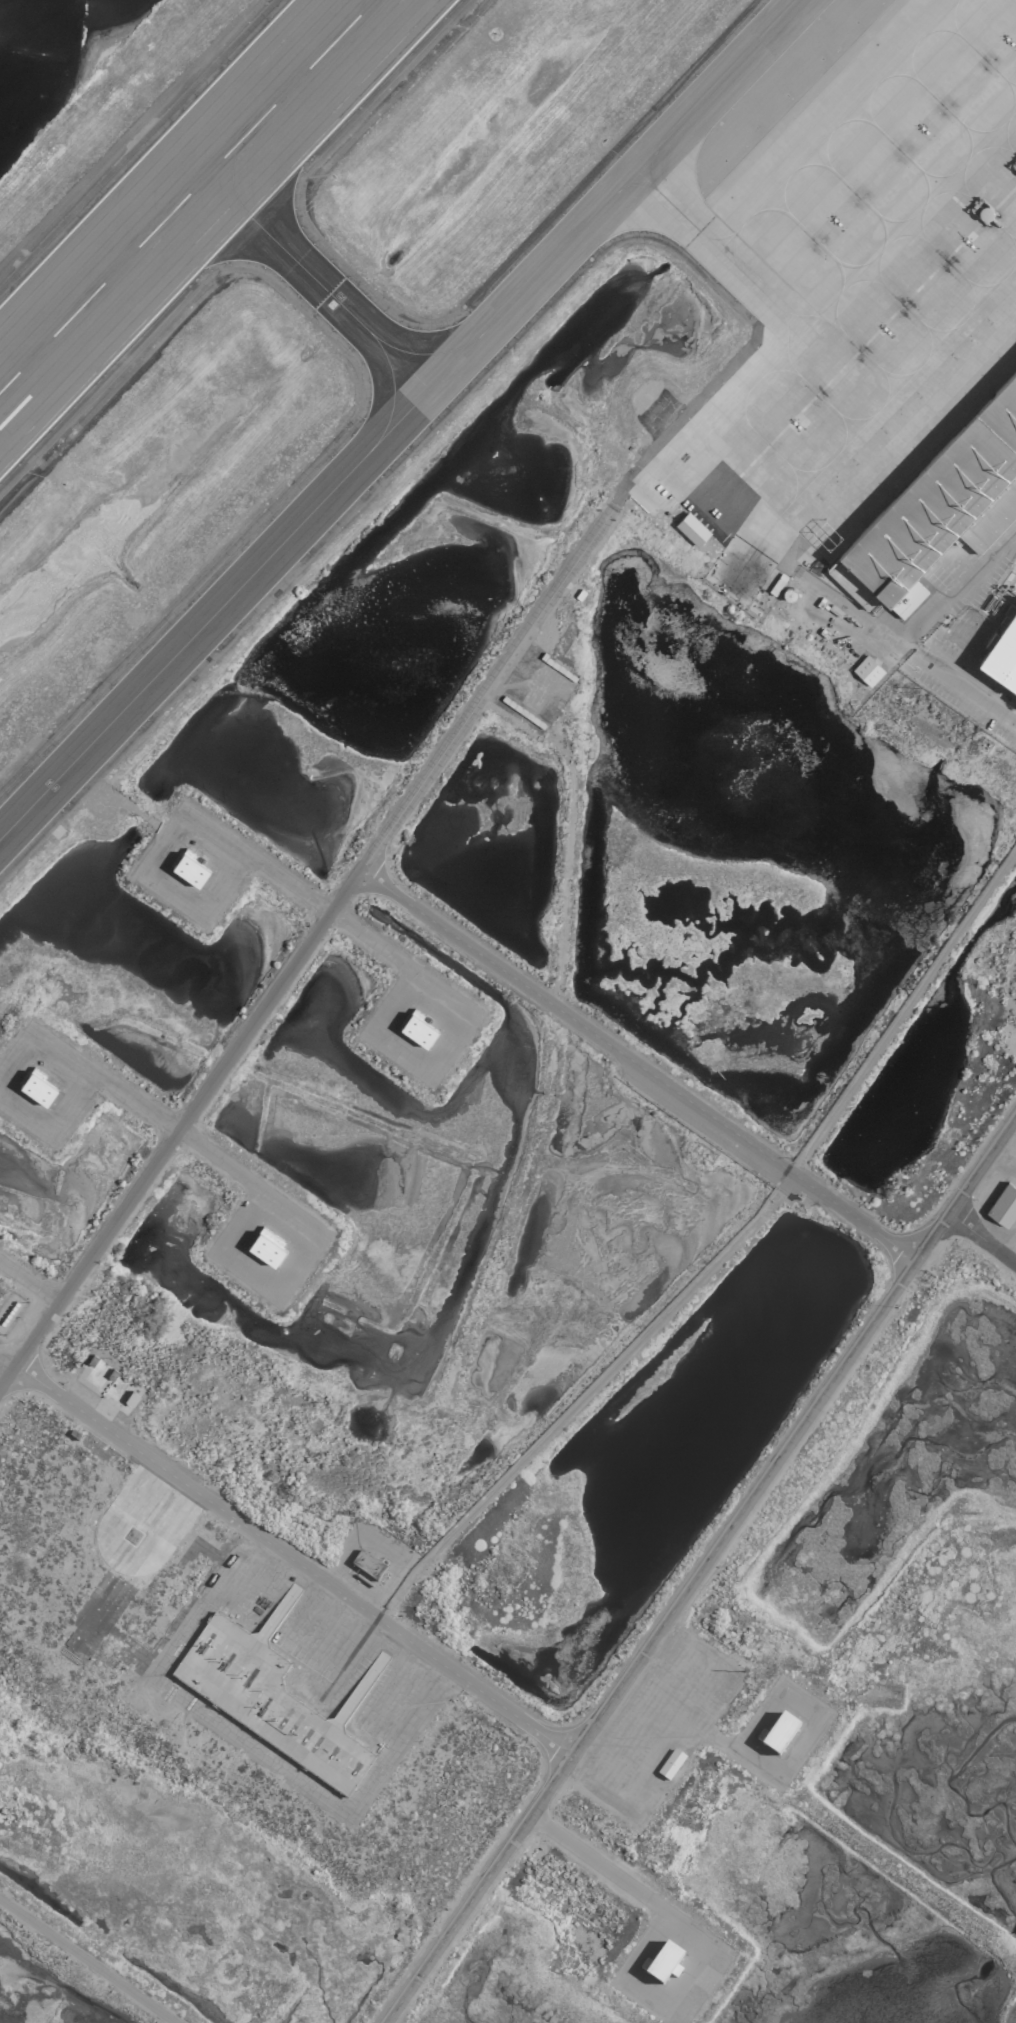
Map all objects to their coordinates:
airport taxiway: (662, 197)
airport runway: (189, 198)
airport apron: (871, 267)
airport taxiway: (319, 285)
airport taxiway: (402, 421)
airport hangar: (945, 503)
building: (945, 503)
building: (691, 528)
road: (827, 597)
building: (1001, 652)
building: (866, 669)
road: (257, 856)
building: (187, 867)
road: (318, 923)
road: (411, 967)
road: (900, 1007)
airport: (508, 1011)
building: (416, 1028)
road: (552, 1030)
road: (635, 1063)
road: (104, 1075)
building: (35, 1087)
road: (256, 1182)
building: (1003, 1204)
road: (979, 1242)
building: (266, 1246)
road: (581, 1393)
building: (130, 1397)
road: (288, 1555)
building: (366, 1563)
road: (695, 1566)
building: (270, 1581)
building: (776, 1732)
building: (669, 1763)
road: (600, 1864)
road: (88, 1960)
building: (661, 1962)
road: (1012, 2014)

